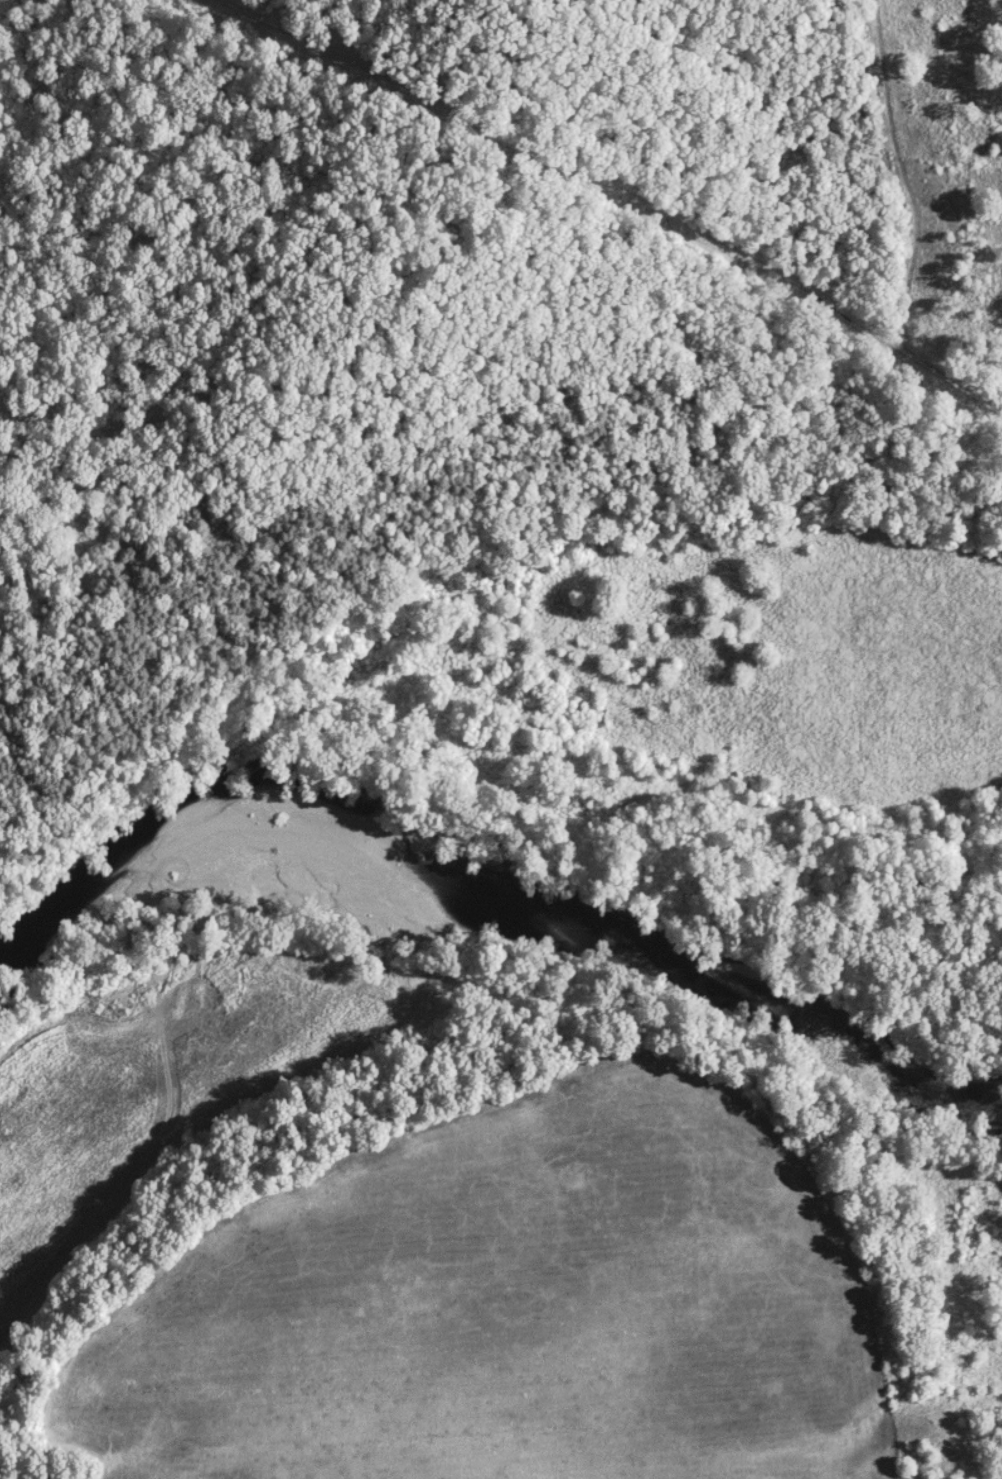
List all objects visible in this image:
road: (273, 267)
river: (480, 895)
crop: (162, 1083)

